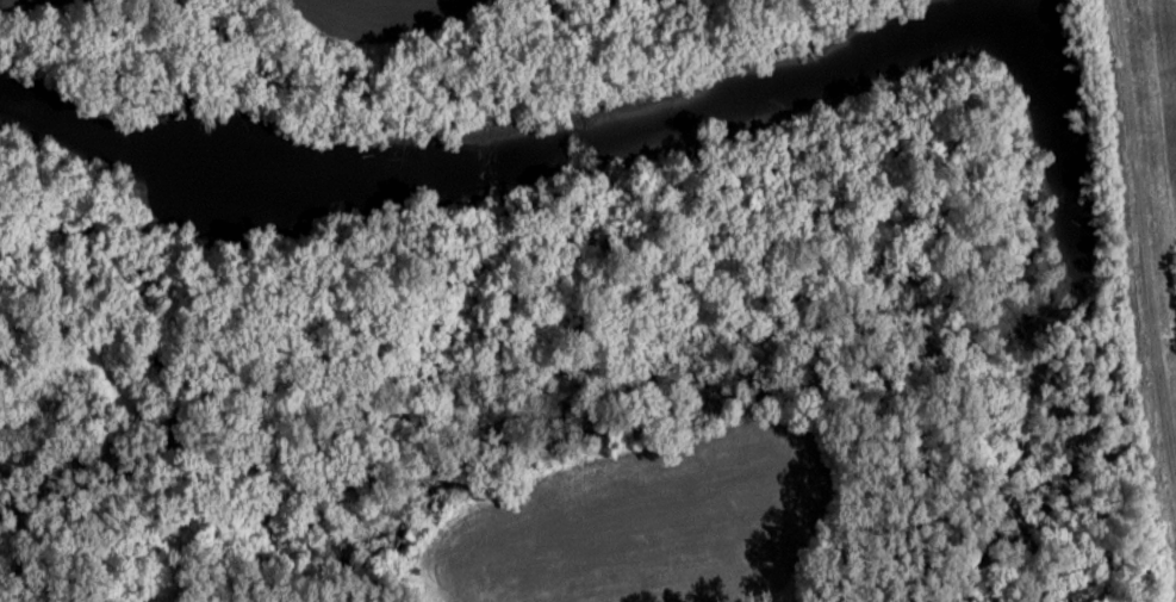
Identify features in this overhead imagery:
road: (1139, 242)

